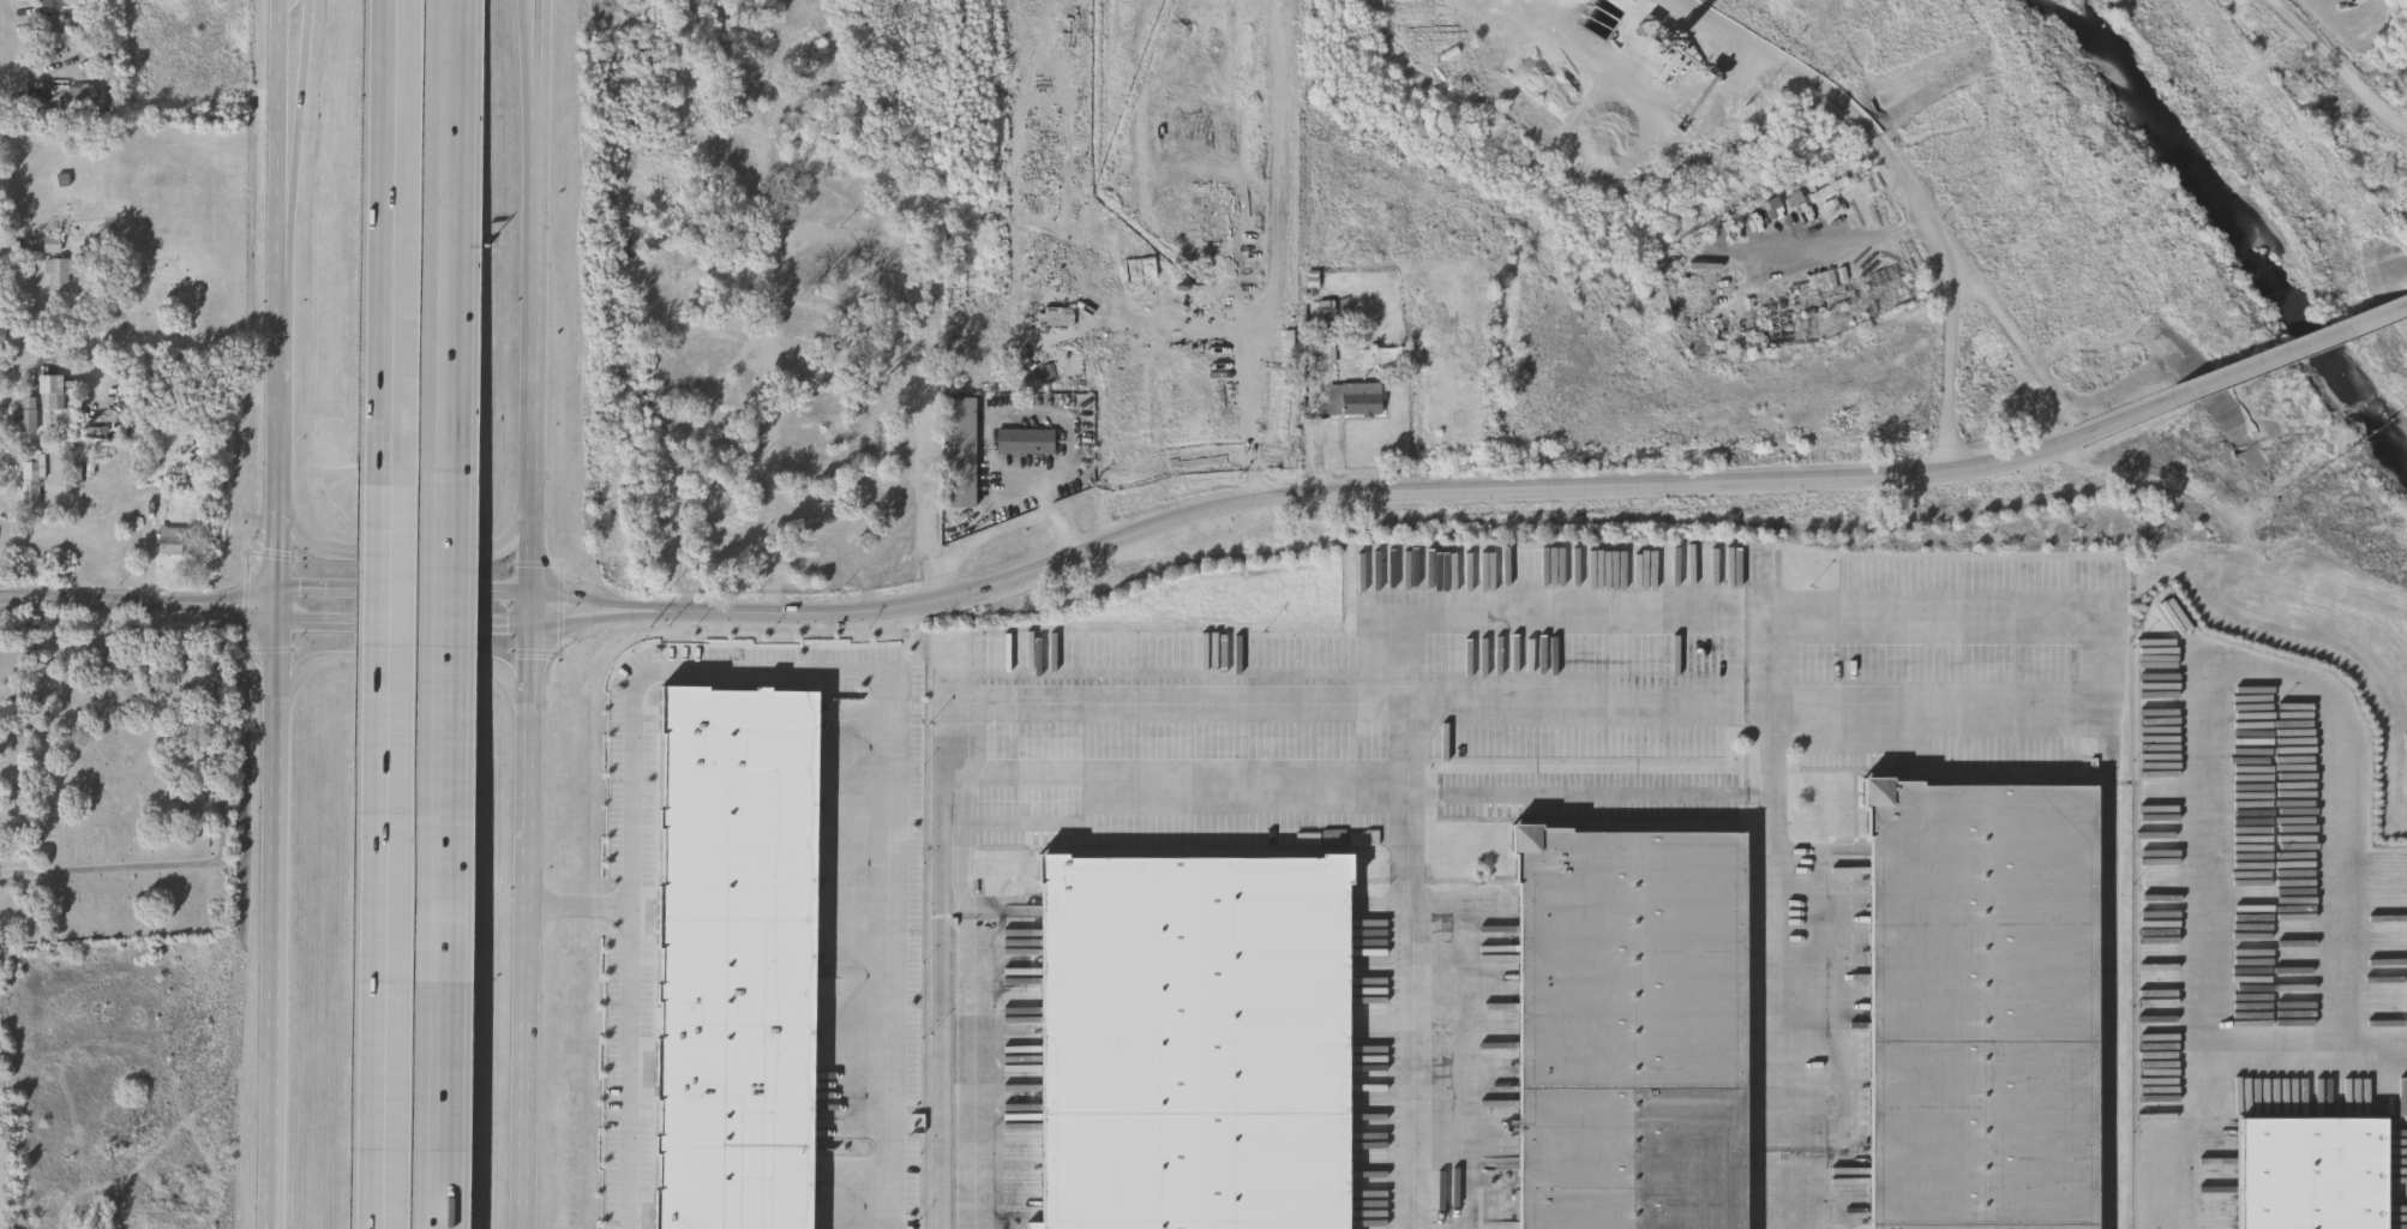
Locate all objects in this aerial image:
building: (66, 4)
building: (775, 13)
road: (536, 20)
road: (539, 20)
road: (1, 29)
building: (61, 34)
road: (4, 38)
building: (811, 59)
road: (2340, 67)
building: (743, 68)
building: (78, 101)
road: (283, 138)
road: (295, 138)
building: (703, 169)
road: (1148, 170)
road: (1280, 184)
road: (1909, 185)
building: (1830, 192)
building: (726, 193)
road: (770, 200)
building: (1795, 203)
building: (895, 214)
road: (834, 221)
road: (455, 240)
road: (395, 241)
road: (1844, 245)
building: (52, 247)
building: (742, 247)
building: (60, 276)
building: (1321, 312)
building: (817, 326)
road: (1147, 346)
road: (2294, 350)
road: (283, 391)
building: (53, 392)
building: (805, 395)
building: (1355, 398)
building: (26, 418)
building: (812, 420)
building: (1025, 440)
building: (959, 451)
building: (880, 456)
building: (816, 460)
road: (528, 473)
building: (31, 481)
road: (1086, 490)
building: (816, 493)
road: (1356, 499)
road: (1020, 505)
building: (822, 518)
building: (853, 522)
building: (736, 530)
building: (170, 542)
building: (804, 550)
road: (280, 557)
road: (406, 559)
road: (404, 593)
road: (138, 605)
road: (1538, 622)
road: (404, 625)
road: (402, 661)
road: (2257, 667)
road: (767, 671)
road: (1502, 708)
road: (2112, 750)
road: (1186, 779)
park: (115, 789)
road: (448, 855)
road: (388, 856)
road: (578, 905)
road: (275, 918)
road: (1775, 945)
building: (733, 954)
building: (1985, 1008)
building: (1632, 1033)
road: (2207, 1043)
building: (1196, 1047)
road: (524, 1067)
building: (2310, 1173)

